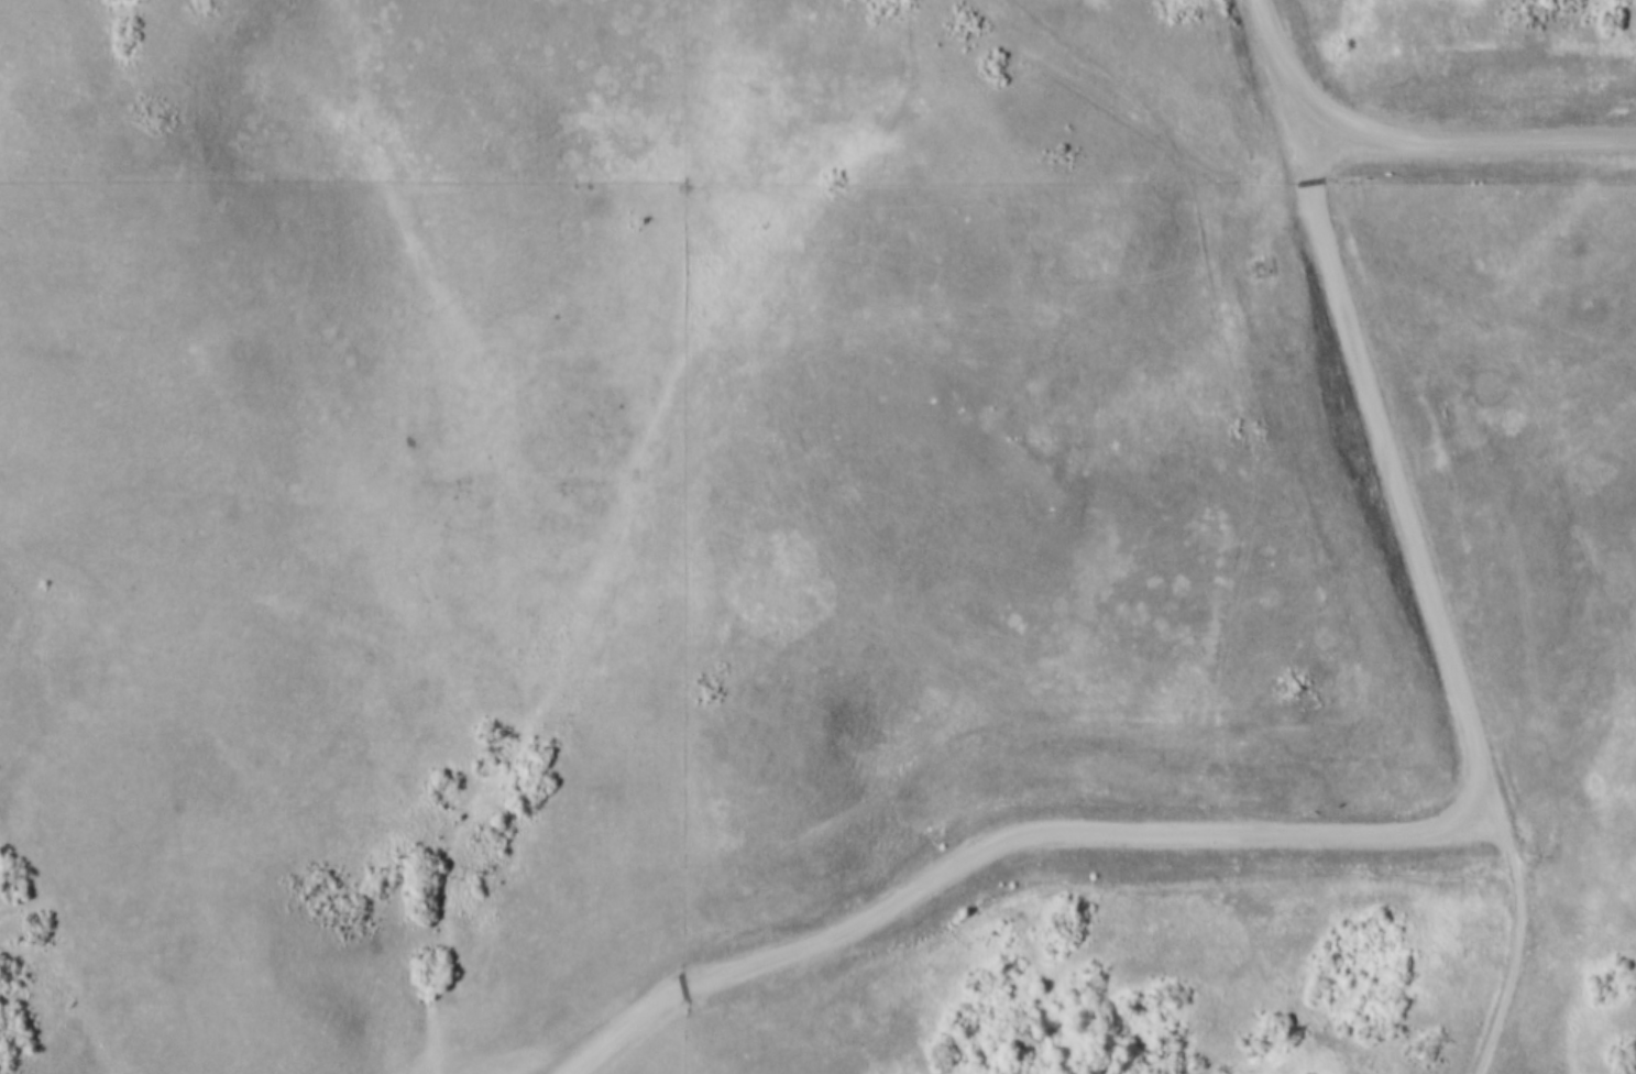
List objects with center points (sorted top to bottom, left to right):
road: (1468, 162)
road: (1291, 200)
road: (1372, 399)
road: (998, 839)
road: (1516, 938)

